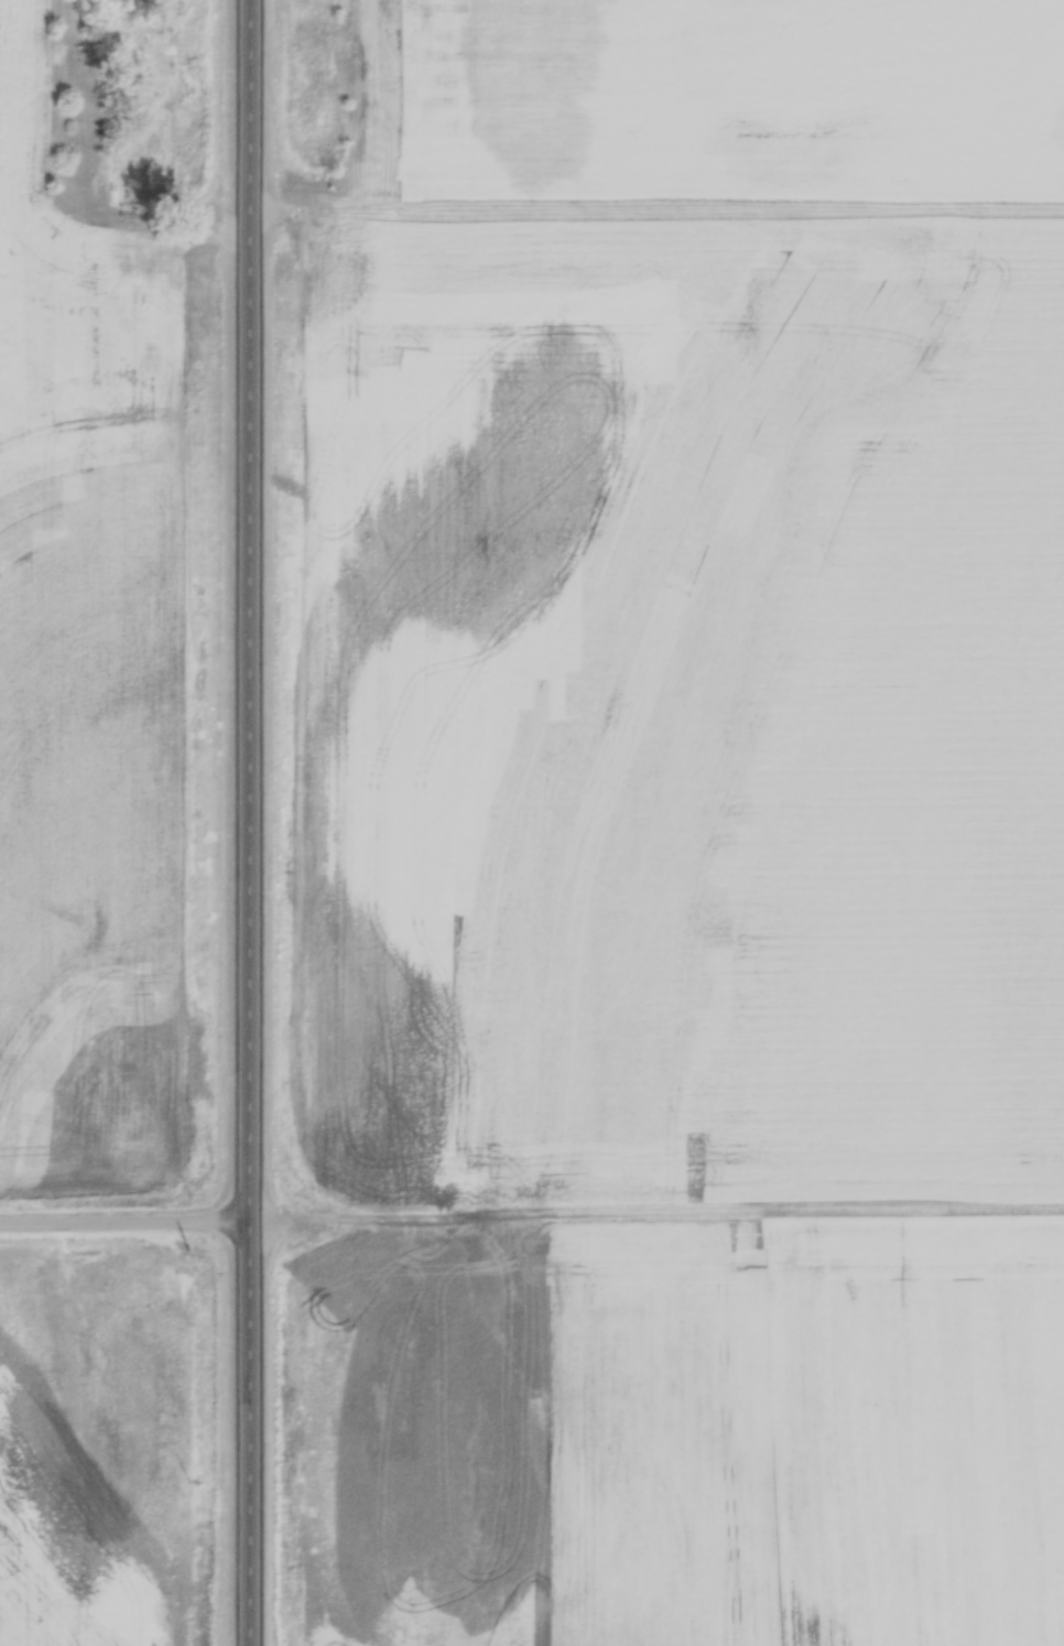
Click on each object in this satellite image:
road: (248, 823)
road: (655, 1209)
road: (123, 1222)

